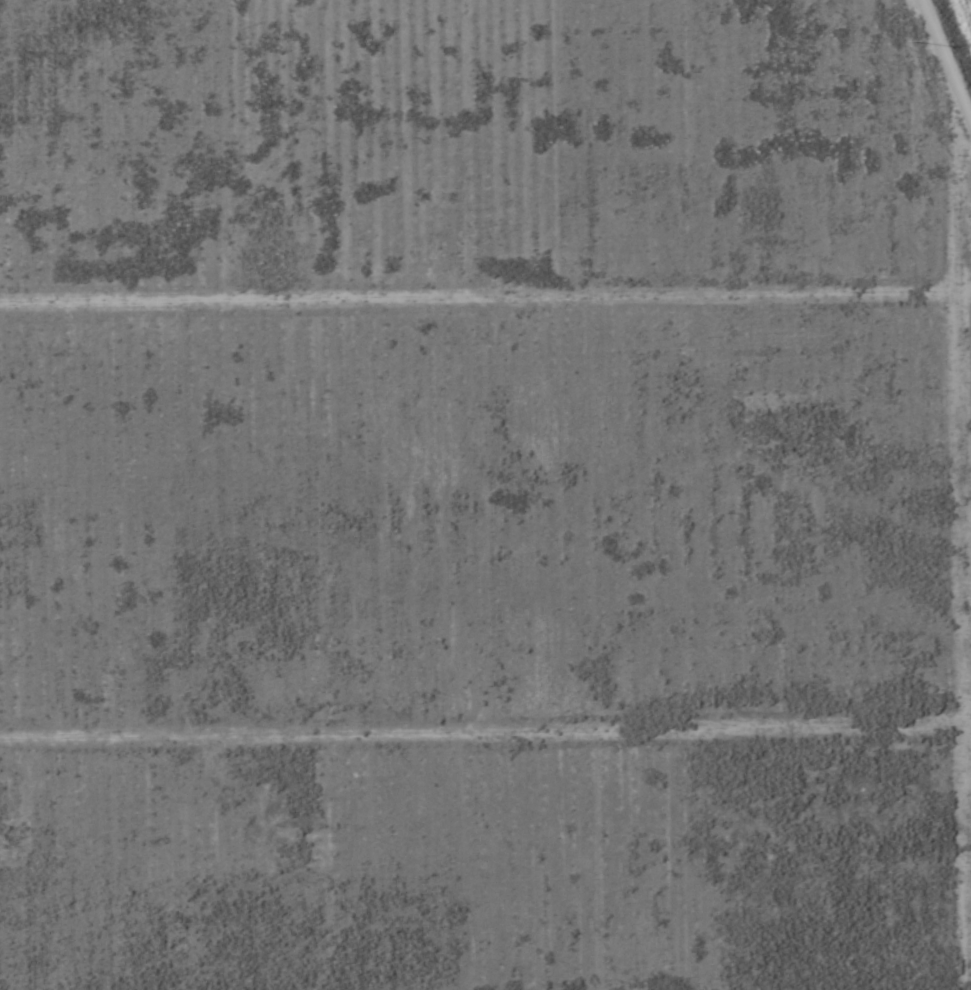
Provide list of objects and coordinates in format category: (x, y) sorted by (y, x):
road: (496, 853)

